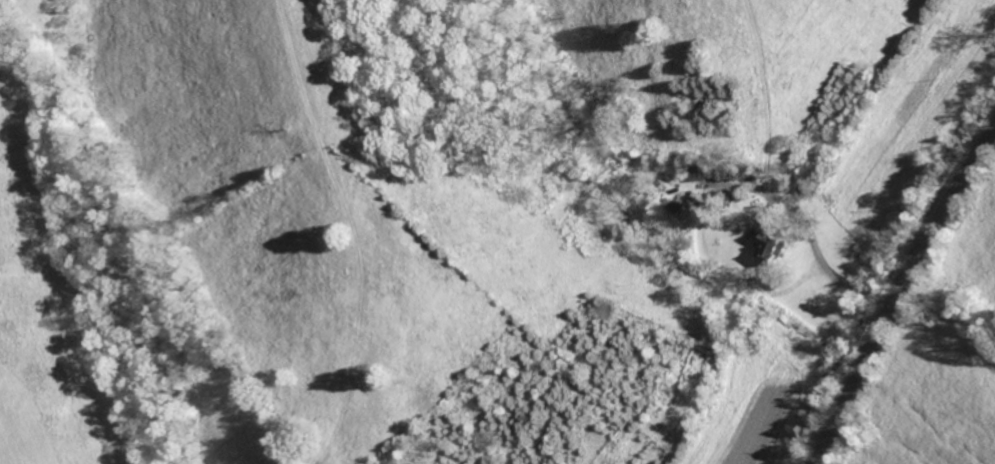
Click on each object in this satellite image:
building: (774, 249)
road: (824, 260)
road: (898, 293)

